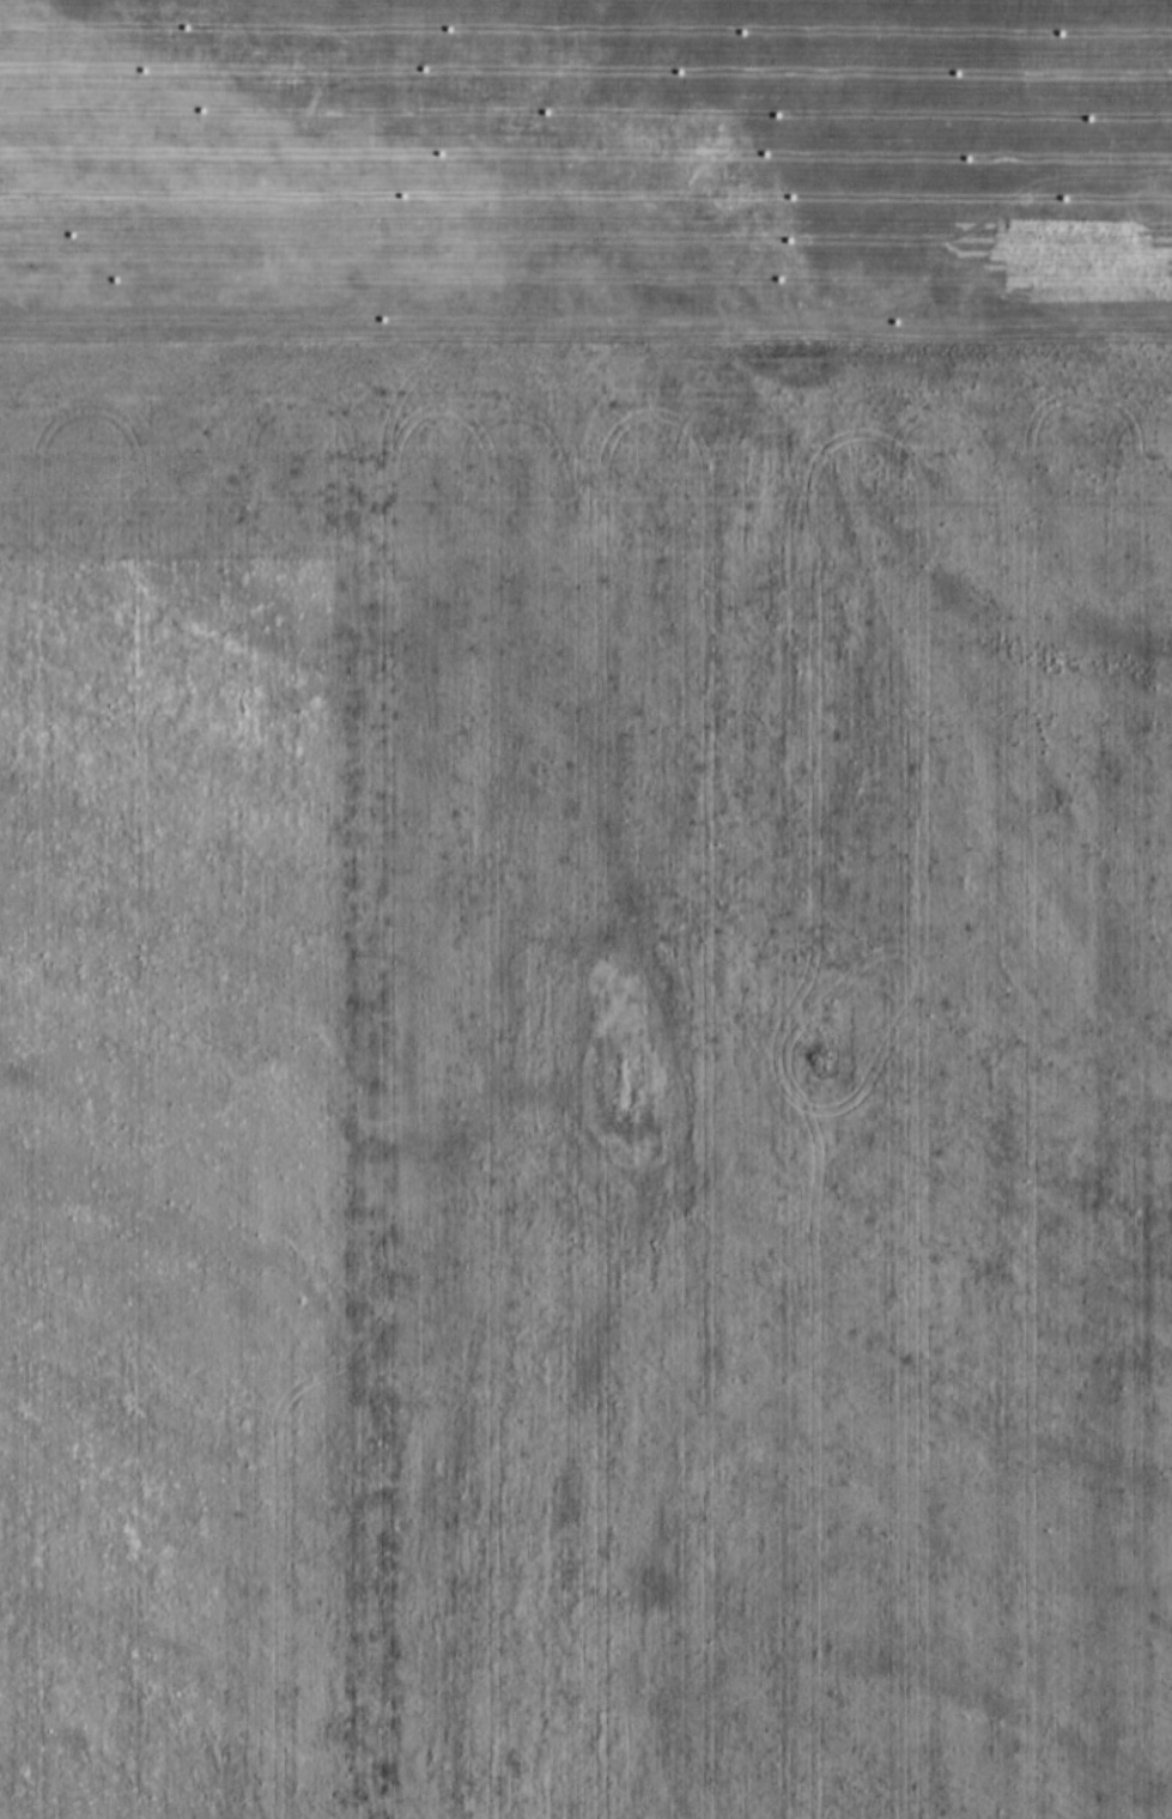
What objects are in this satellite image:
quarry: (991, 90)
road: (893, 428)

